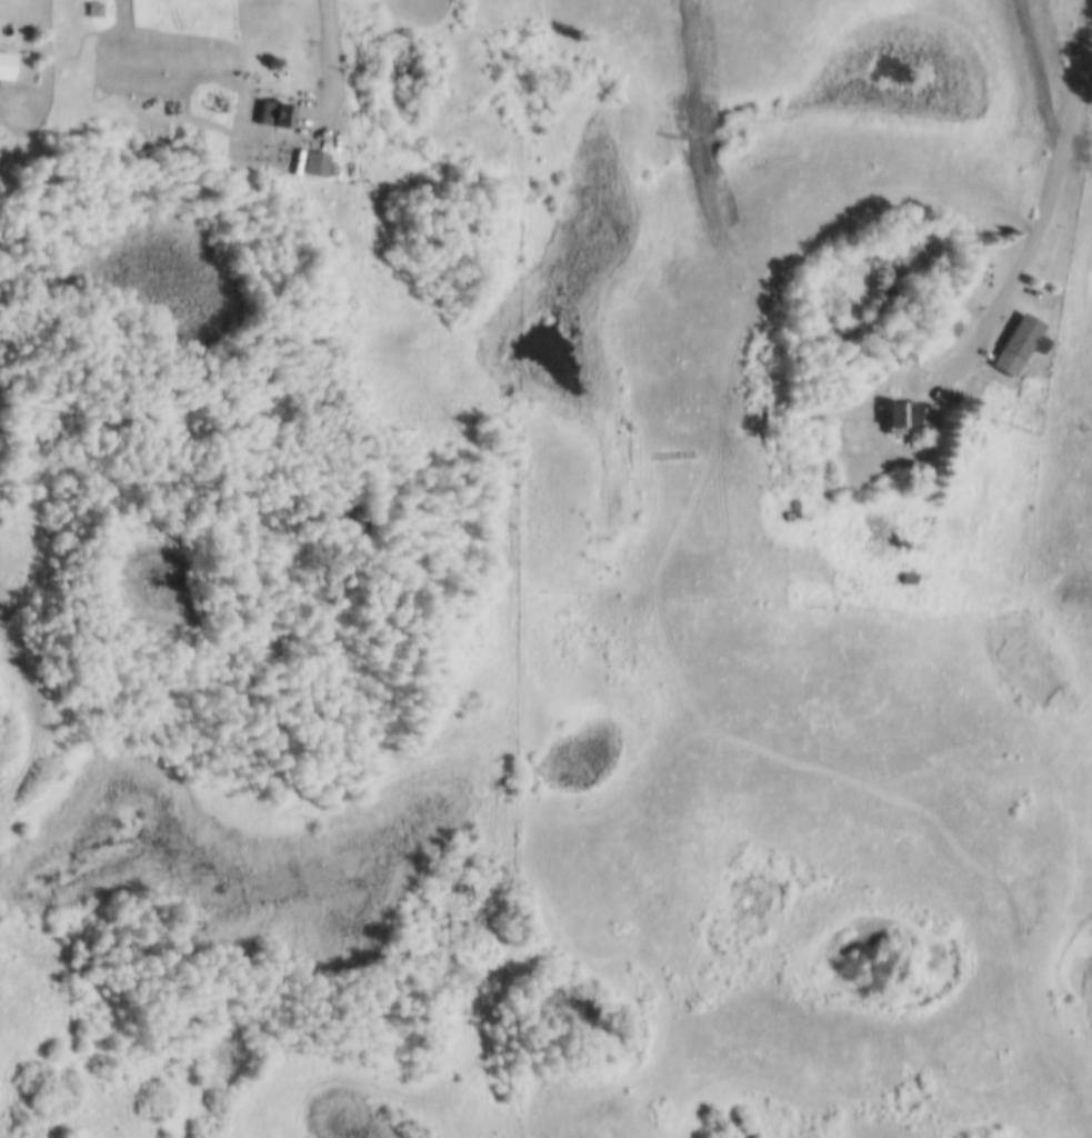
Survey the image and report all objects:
building: (93, 7)
building: (4, 62)
road: (334, 67)
building: (218, 107)
building: (272, 112)
building: (320, 162)
building: (339, 166)
road: (1041, 218)
building: (948, 325)
building: (1019, 340)
building: (908, 357)
building: (898, 413)
building: (628, 460)
building: (908, 576)

